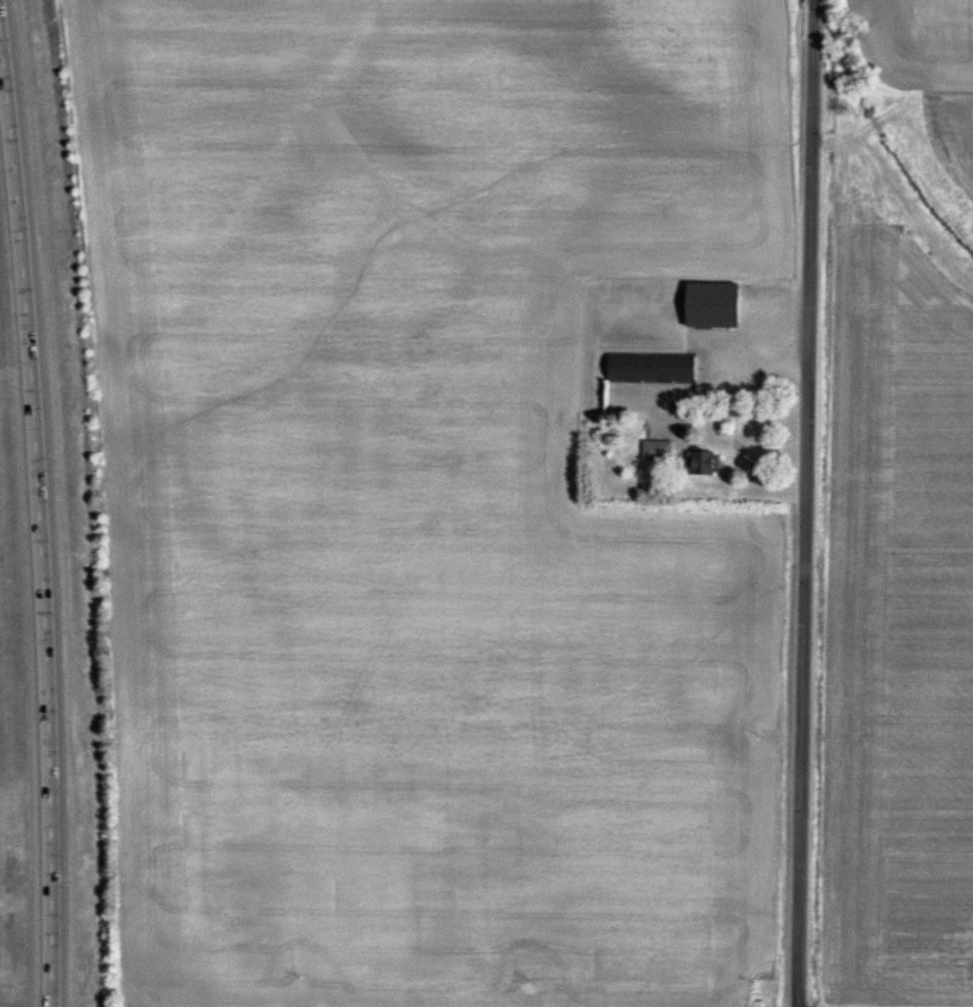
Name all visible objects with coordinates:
building: (713, 307)
building: (652, 370)
road: (718, 372)
building: (658, 452)
building: (703, 465)
road: (804, 503)
road: (44, 509)
road: (352, 1004)

